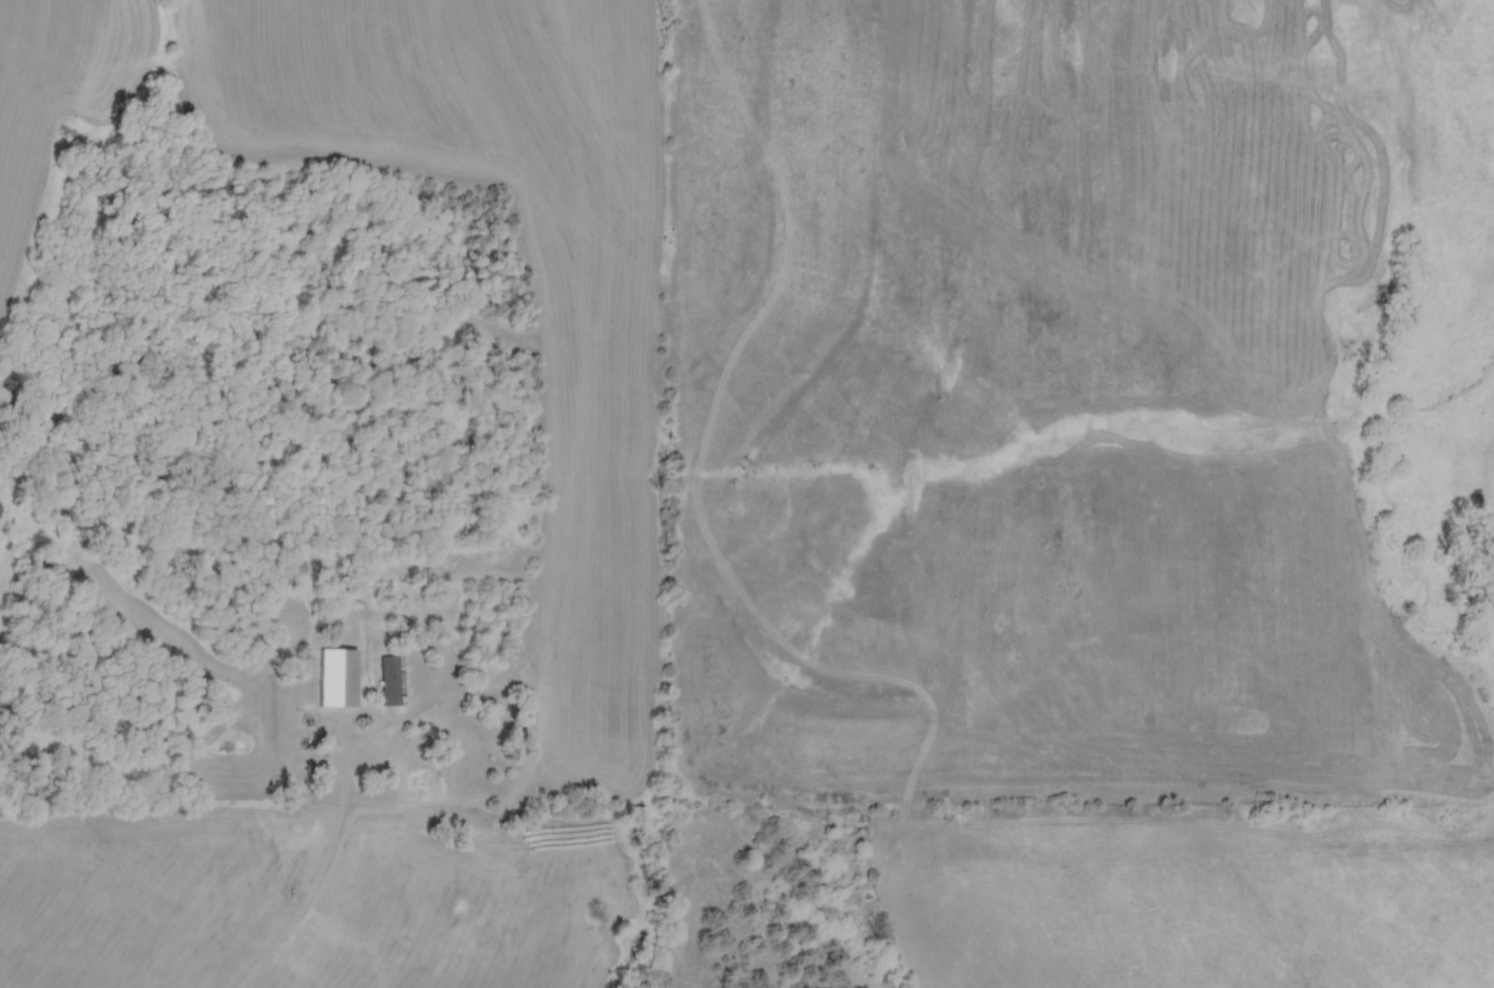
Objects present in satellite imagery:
building: (338, 679)
building: (390, 681)
road: (353, 720)
road: (318, 878)

